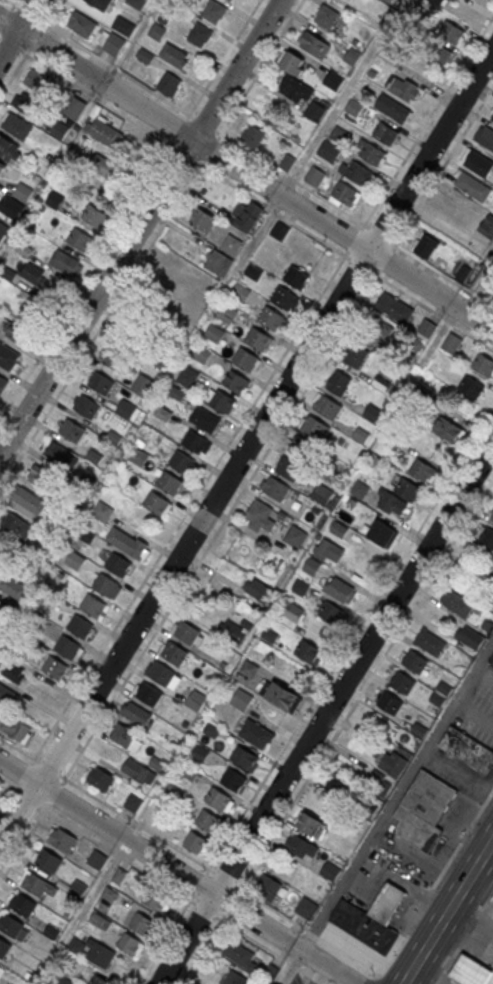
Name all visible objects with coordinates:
building: (231, 0)
building: (437, 2)
building: (137, 3)
road: (12, 4)
building: (100, 4)
building: (215, 12)
road: (53, 14)
road: (4, 17)
building: (327, 17)
building: (164, 18)
building: (80, 24)
building: (124, 27)
road: (18, 29)
building: (157, 32)
building: (452, 33)
building: (200, 36)
road: (36, 40)
building: (314, 43)
road: (8, 44)
building: (114, 45)
building: (392, 49)
building: (174, 54)
building: (439, 54)
building: (145, 57)
building: (353, 57)
road: (222, 58)
road: (258, 68)
road: (14, 72)
building: (294, 78)
building: (334, 80)
building: (38, 82)
building: (169, 83)
building: (404, 89)
road: (96, 99)
building: (27, 105)
building: (354, 108)
building: (393, 109)
building: (75, 111)
road: (189, 113)
building: (314, 114)
building: (492, 118)
building: (492, 120)
road: (427, 122)
building: (18, 127)
road: (179, 128)
building: (60, 130)
building: (106, 133)
building: (385, 134)
building: (339, 135)
building: (252, 136)
building: (486, 137)
road: (209, 149)
building: (10, 150)
building: (330, 151)
road: (186, 154)
building: (373, 155)
building: (478, 162)
building: (101, 167)
road: (442, 167)
building: (2, 169)
building: (358, 173)
road: (246, 174)
building: (315, 177)
building: (472, 185)
building: (23, 193)
building: (347, 195)
building: (54, 200)
building: (12, 208)
road: (272, 210)
building: (249, 216)
building: (97, 218)
building: (201, 219)
building: (487, 225)
road: (140, 226)
building: (279, 232)
road: (379, 233)
building: (2, 234)
road: (354, 238)
building: (81, 241)
building: (231, 245)
building: (426, 245)
building: (24, 249)
road: (385, 259)
building: (67, 263)
road: (359, 263)
building: (219, 264)
road: (440, 272)
building: (33, 273)
building: (254, 273)
building: (462, 273)
building: (296, 276)
road: (86, 279)
building: (241, 294)
building: (284, 297)
building: (395, 307)
road: (431, 308)
building: (40, 312)
building: (227, 314)
building: (272, 318)
road: (101, 324)
building: (426, 327)
building: (376, 329)
building: (215, 334)
building: (258, 339)
building: (451, 342)
building: (355, 354)
building: (202, 355)
building: (9, 357)
building: (113, 357)
building: (246, 359)
building: (483, 364)
building: (189, 376)
building: (235, 380)
building: (338, 382)
building: (381, 383)
building: (101, 384)
building: (3, 385)
building: (144, 385)
building: (471, 386)
building: (222, 400)
building: (328, 406)
building: (86, 407)
building: (126, 408)
building: (372, 412)
building: (205, 418)
building: (315, 426)
building: (448, 428)
building: (72, 431)
building: (360, 434)
building: (195, 441)
road: (245, 447)
building: (302, 447)
building: (61, 454)
building: (138, 456)
building: (182, 461)
building: (289, 467)
building: (422, 470)
building: (37, 475)
building: (169, 482)
building: (276, 488)
building: (359, 489)
building: (408, 491)
building: (322, 493)
building: (156, 502)
road: (188, 507)
building: (258, 511)
building: (492, 519)
road: (220, 526)
building: (18, 527)
building: (383, 533)
building: (295, 535)
building: (487, 538)
building: (131, 544)
building: (330, 549)
building: (119, 564)
building: (311, 565)
building: (492, 578)
building: (106, 585)
building: (300, 586)
building: (15, 589)
building: (259, 589)
building: (340, 589)
building: (456, 603)
building: (13, 604)
building: (93, 605)
building: (291, 609)
building: (331, 613)
building: (3, 625)
building: (80, 626)
building: (235, 630)
building: (186, 631)
building: (470, 637)
road: (349, 641)
building: (427, 641)
building: (67, 646)
building: (308, 650)
building: (174, 652)
building: (491, 660)
building: (415, 662)
building: (55, 667)
building: (248, 667)
building: (14, 671)
building: (162, 673)
road: (482, 678)
building: (402, 683)
road: (365, 684)
building: (149, 693)
building: (6, 694)
building: (284, 696)
building: (242, 698)
building: (197, 699)
building: (390, 703)
parking lot: (479, 709)
building: (136, 712)
road: (326, 713)
road: (472, 715)
building: (15, 728)
building: (419, 730)
building: (256, 733)
building: (124, 734)
road: (18, 749)
building: (467, 749)
building: (200, 751)
building: (244, 757)
building: (393, 761)
road: (48, 767)
building: (139, 770)
road: (23, 774)
building: (101, 778)
building: (233, 779)
building: (379, 783)
building: (338, 784)
road: (9, 785)
road: (54, 792)
road: (397, 792)
road: (8, 797)
road: (28, 798)
building: (218, 798)
building: (133, 802)
building: (423, 809)
building: (207, 821)
road: (136, 822)
building: (309, 825)
building: (62, 838)
road: (24, 842)
building: (195, 843)
building: (301, 848)
road: (117, 853)
road: (489, 853)
building: (97, 858)
building: (49, 859)
road: (180, 870)
building: (330, 871)
road: (225, 876)
road: (436, 880)
building: (35, 883)
road: (201, 883)
building: (77, 888)
building: (268, 889)
building: (109, 895)
building: (156, 901)
road: (265, 901)
road: (231, 902)
building: (388, 902)
building: (23, 904)
road: (206, 908)
building: (306, 909)
building: (490, 909)
road: (447, 910)
building: (100, 920)
building: (142, 923)
building: (11, 924)
road: (298, 924)
building: (364, 924)
road: (304, 928)
road: (311, 932)
road: (247, 934)
road: (165, 938)
road: (464, 938)
building: (130, 943)
building: (4, 947)
road: (203, 948)
building: (96, 951)
building: (241, 956)
road: (349, 956)
road: (288, 961)
road: (290, 965)
building: (2, 969)
road: (305, 972)
building: (470, 972)
road: (321, 974)
parking lot: (292, 977)
building: (238, 978)
road: (388, 978)
road: (307, 979)
road: (317, 979)
building: (99, 980)
road: (349, 982)
road: (324, 983)

